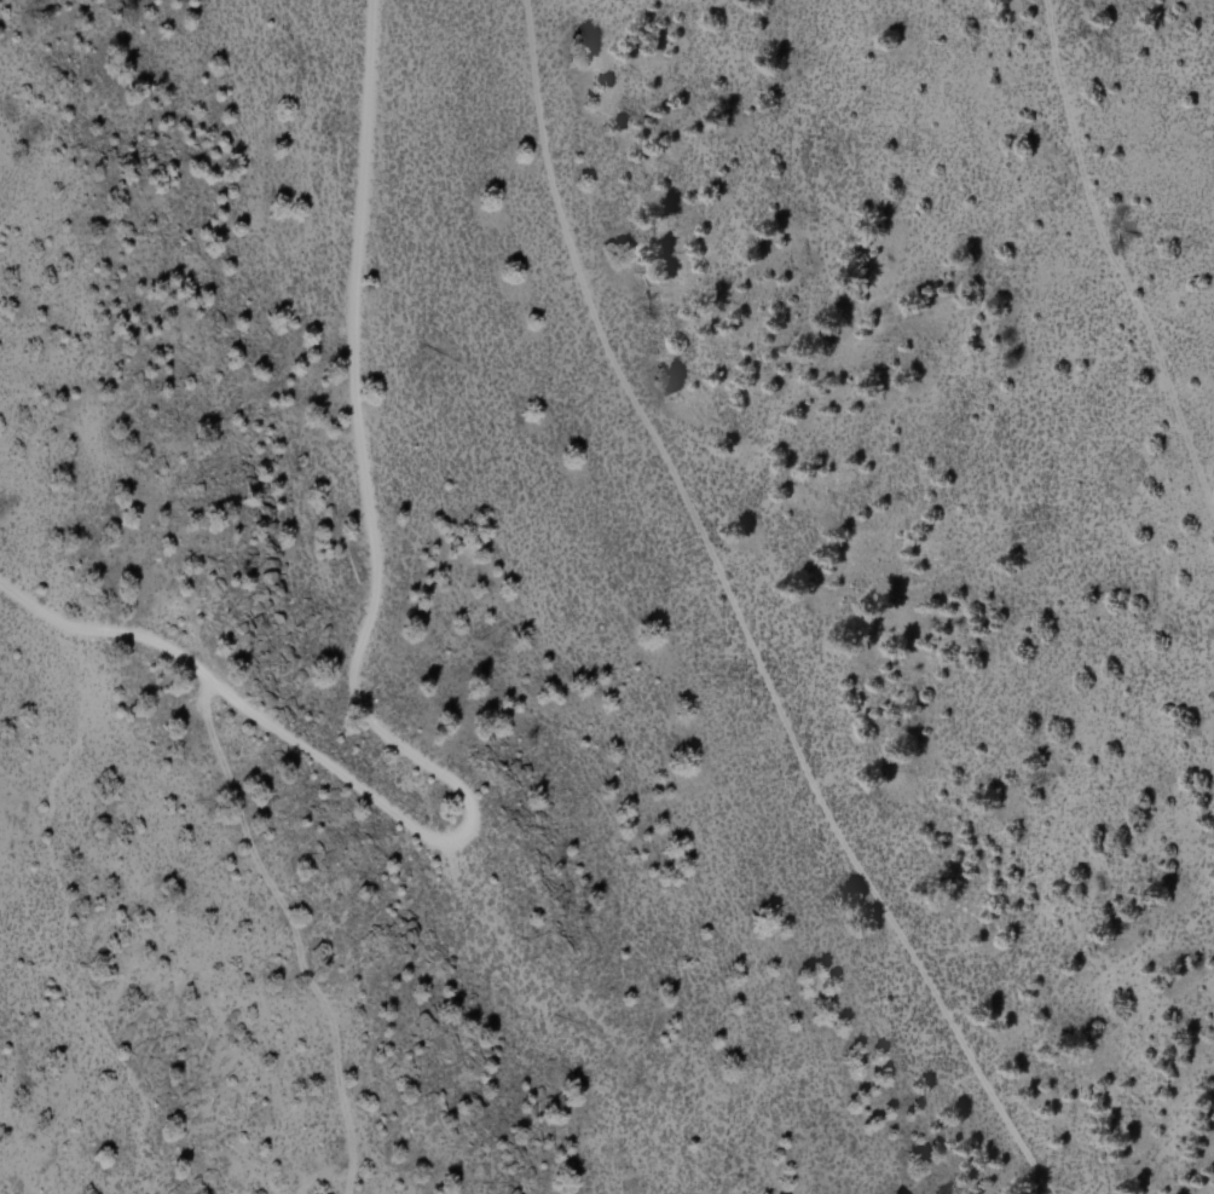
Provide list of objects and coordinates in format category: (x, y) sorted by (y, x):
road: (1110, 271)
road: (745, 617)
road: (364, 714)

